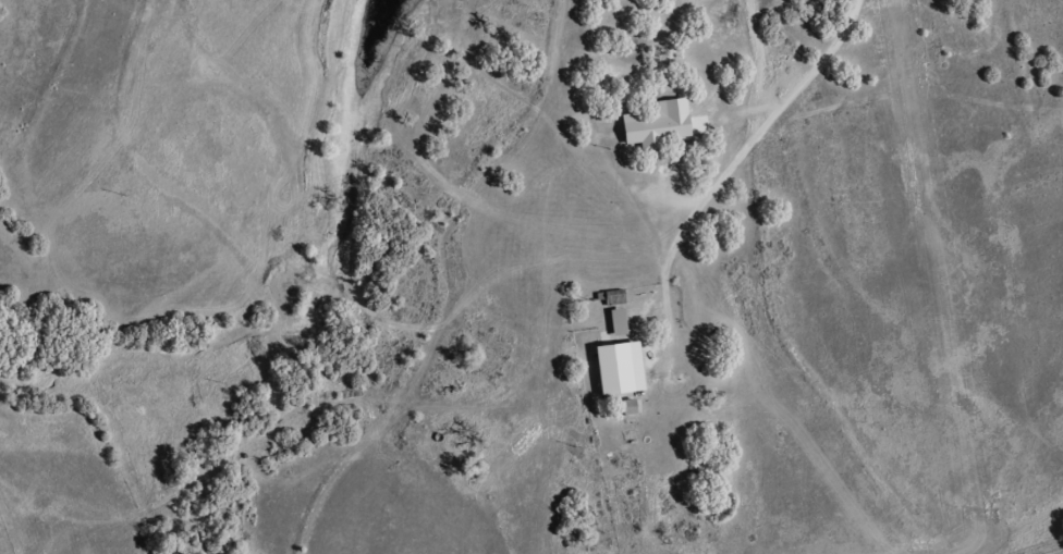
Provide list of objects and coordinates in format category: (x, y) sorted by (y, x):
building: (648, 130)
building: (612, 297)

